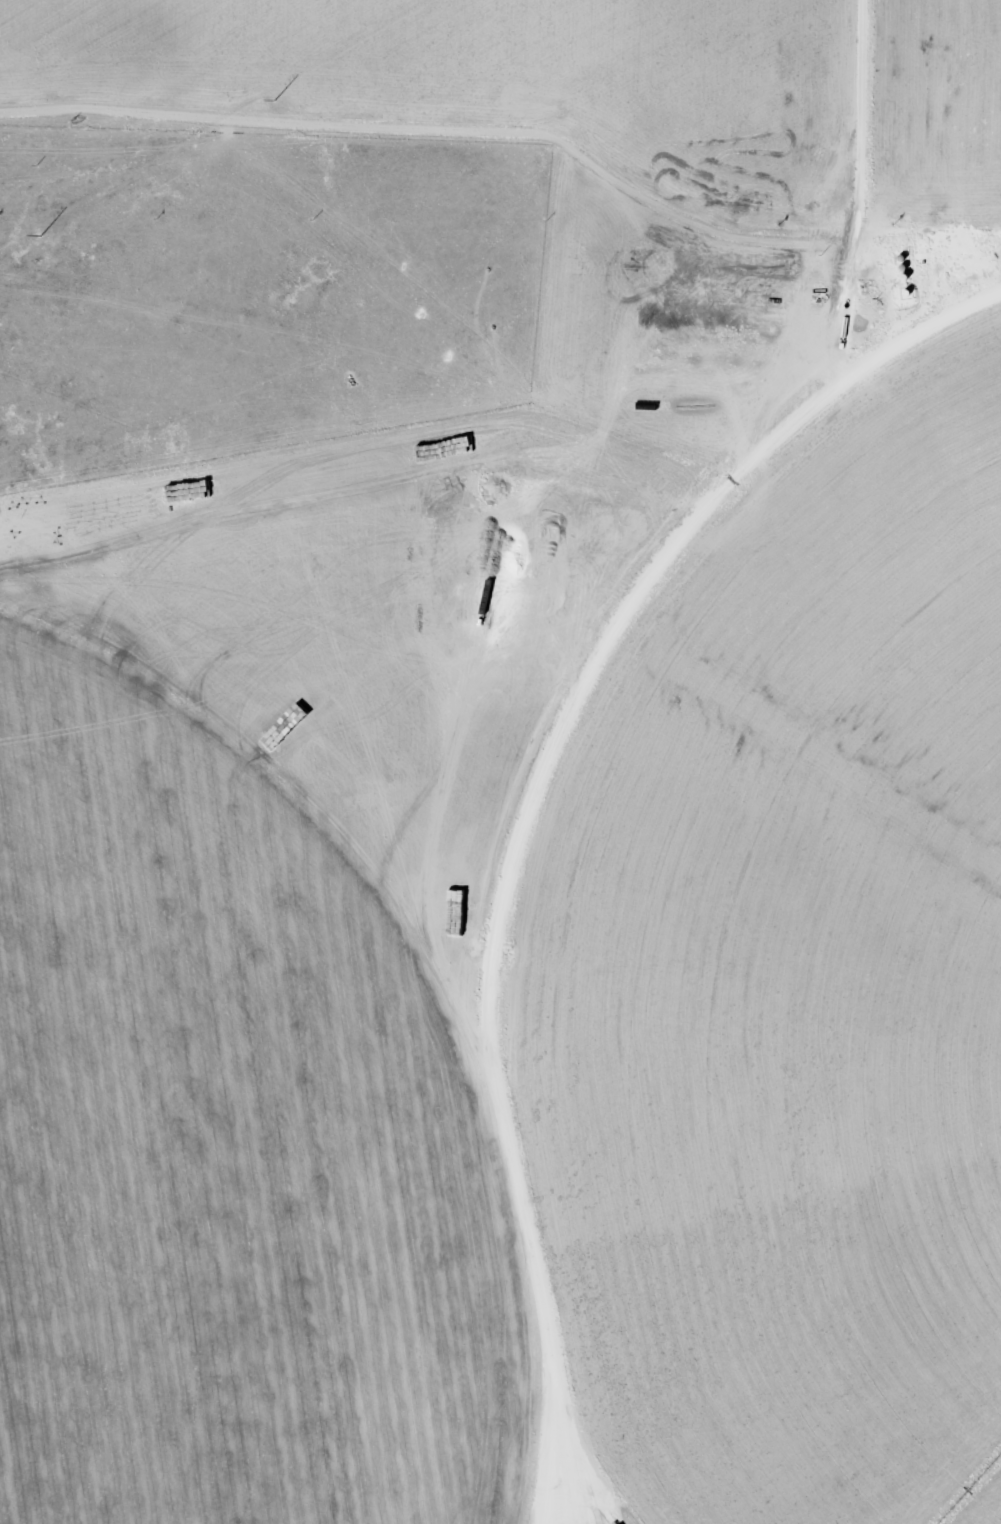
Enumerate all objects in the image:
power tower: (219, 126)

